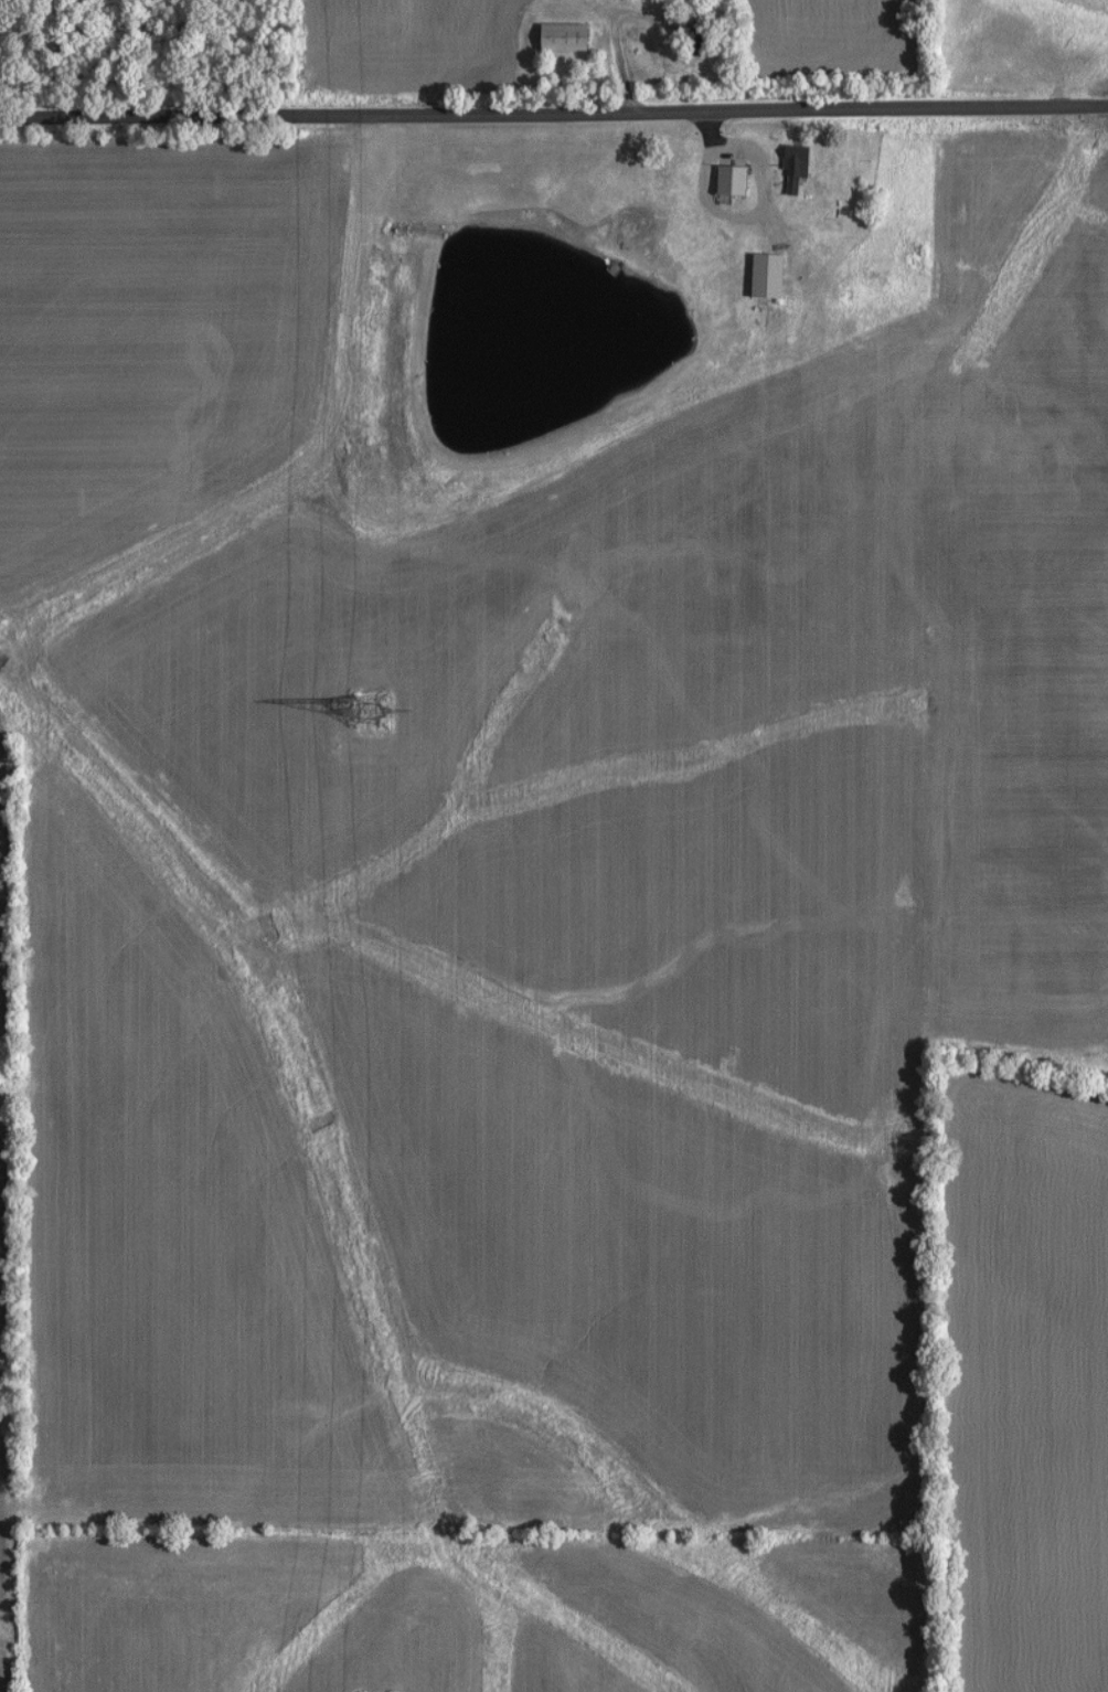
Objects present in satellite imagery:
building: (551, 38)
road: (553, 111)
road: (707, 127)
building: (784, 169)
building: (717, 181)
road: (711, 201)
building: (754, 277)
power tower: (362, 706)

